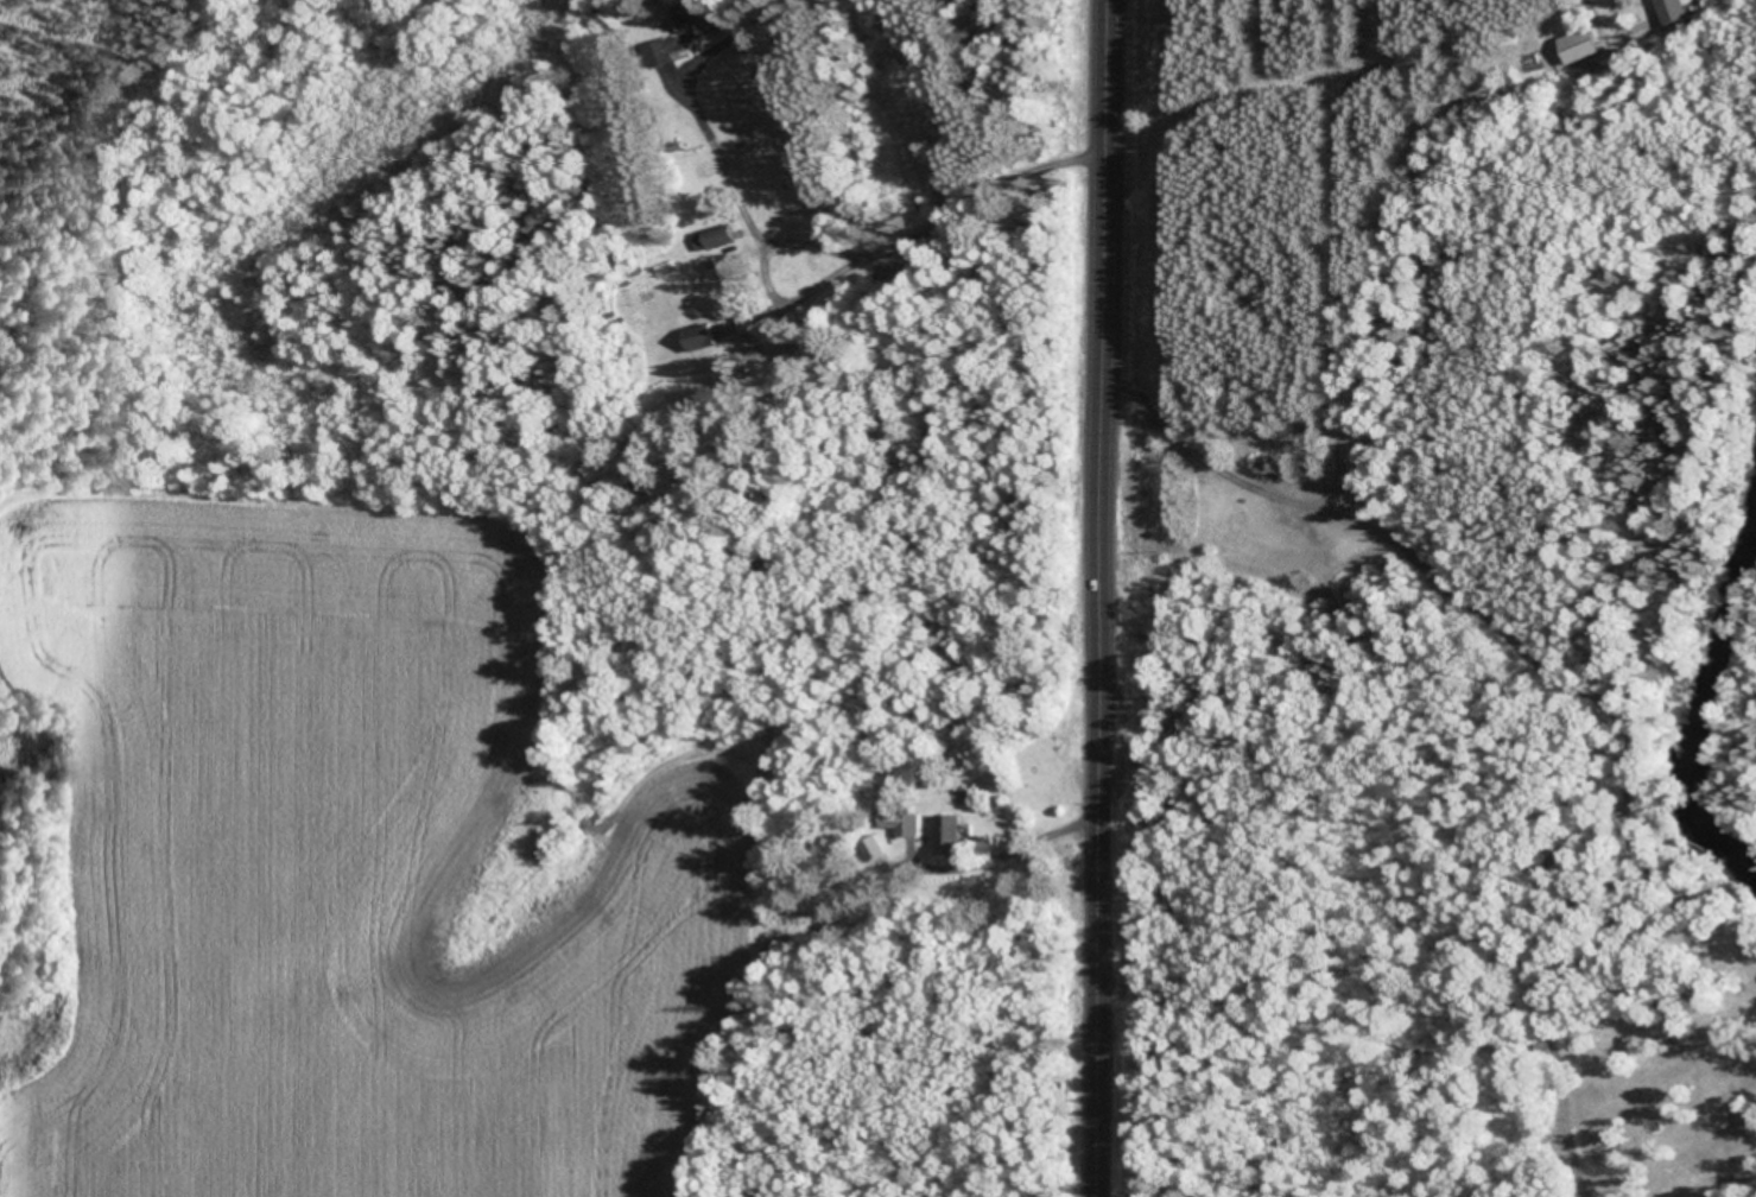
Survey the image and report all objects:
building: (1676, 8)
building: (701, 17)
building: (679, 40)
building: (1587, 42)
building: (722, 233)
road: (830, 259)
building: (709, 334)
road: (1097, 597)
river: (1698, 688)
building: (957, 832)
park: (1229, 1170)

